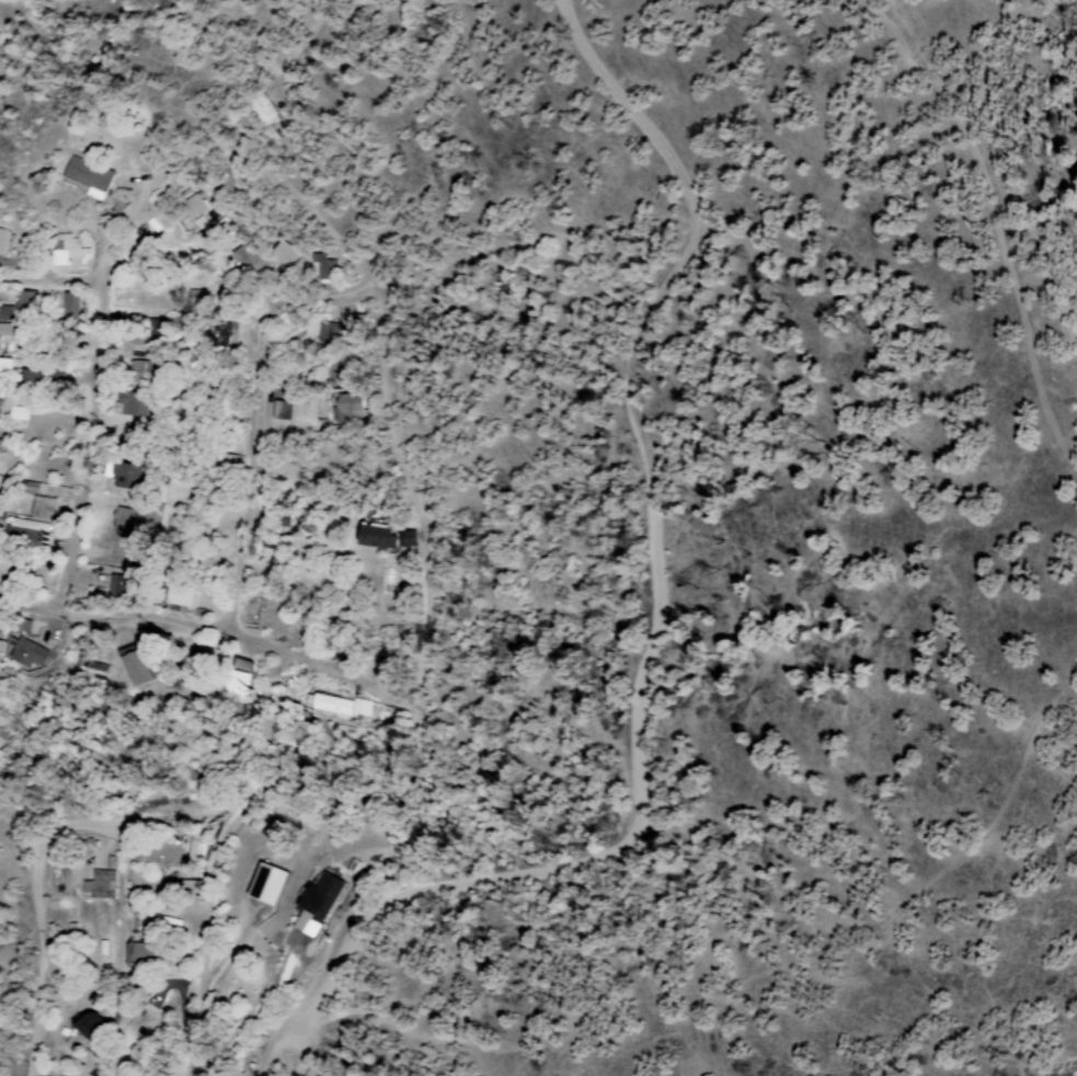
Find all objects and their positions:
road: (308, 65)
road: (175, 162)
building: (88, 176)
building: (191, 207)
building: (2, 241)
building: (67, 252)
building: (282, 254)
building: (245, 260)
building: (319, 266)
road: (50, 281)
building: (22, 301)
building: (68, 307)
building: (4, 322)
building: (326, 332)
building: (4, 367)
building: (139, 374)
building: (37, 377)
road: (1041, 381)
building: (131, 404)
building: (346, 407)
road: (254, 422)
road: (397, 443)
building: (1, 446)
road: (92, 449)
building: (123, 477)
building: (41, 508)
building: (121, 519)
building: (25, 534)
building: (374, 537)
building: (405, 539)
building: (2, 566)
building: (175, 597)
road: (661, 616)
road: (218, 631)
building: (23, 645)
building: (134, 668)
building: (94, 669)
building: (236, 678)
building: (334, 708)
road: (337, 760)
building: (156, 852)
road: (54, 863)
building: (98, 883)
building: (264, 883)
building: (314, 903)
road: (210, 939)
building: (84, 1023)
road: (295, 1051)

